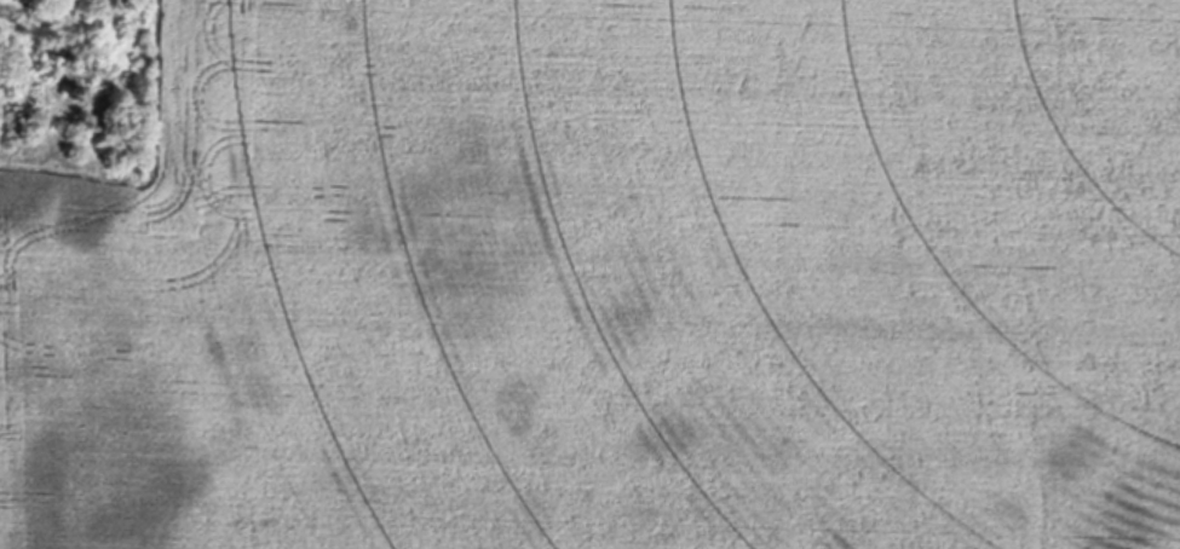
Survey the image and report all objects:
building: (102, 1)

